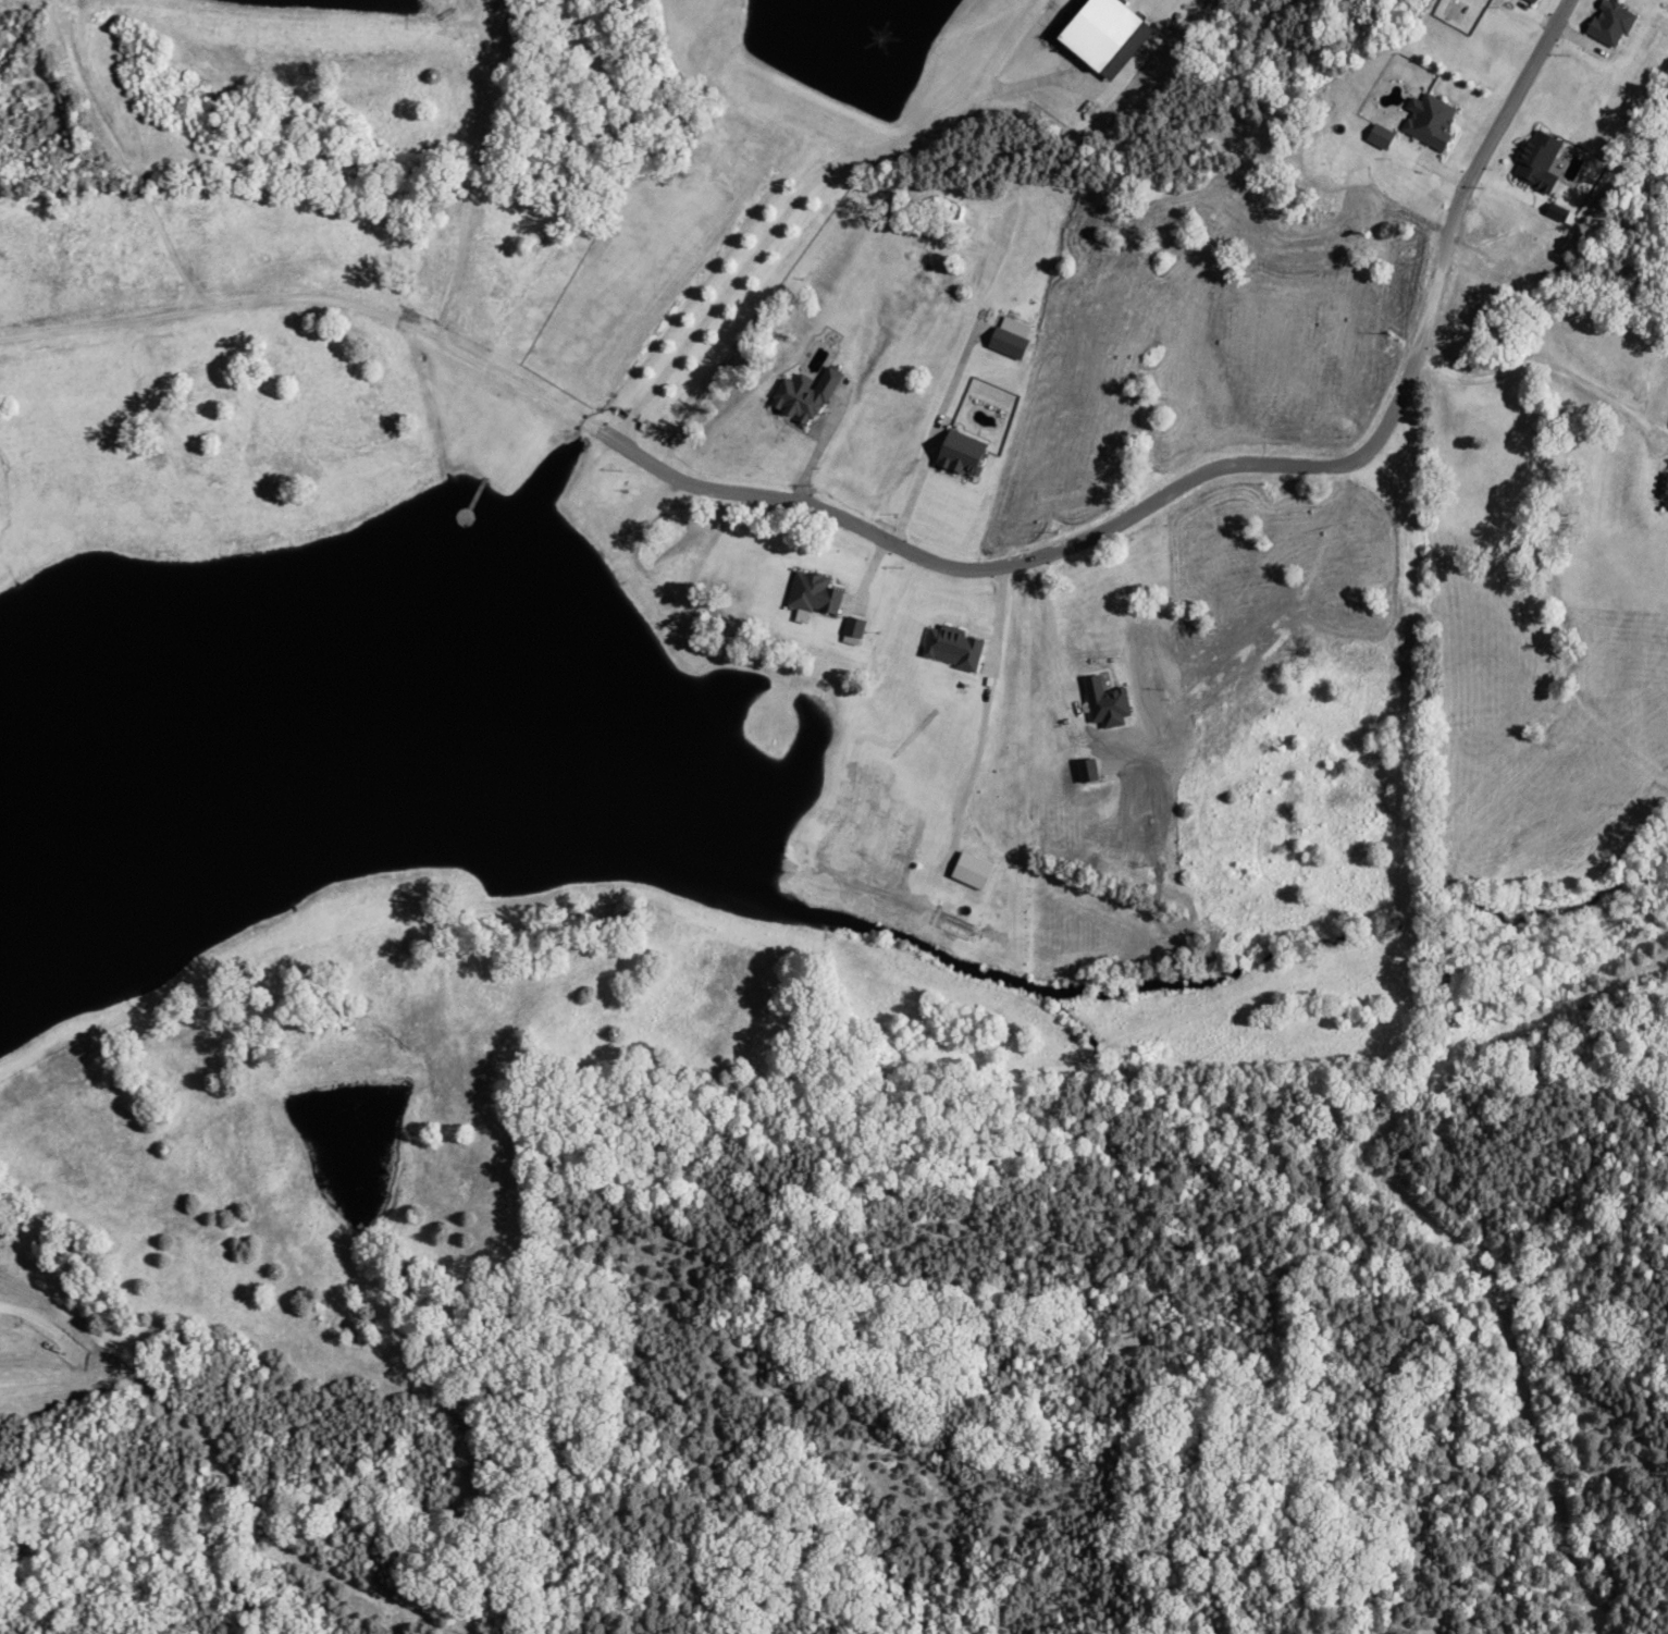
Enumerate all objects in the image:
building: (1530, 0)
building: (1606, 22)
building: (1099, 35)
road: (1506, 115)
building: (1426, 121)
building: (1376, 135)
building: (1533, 161)
building: (802, 395)
building: (1664, 487)
building: (812, 592)

